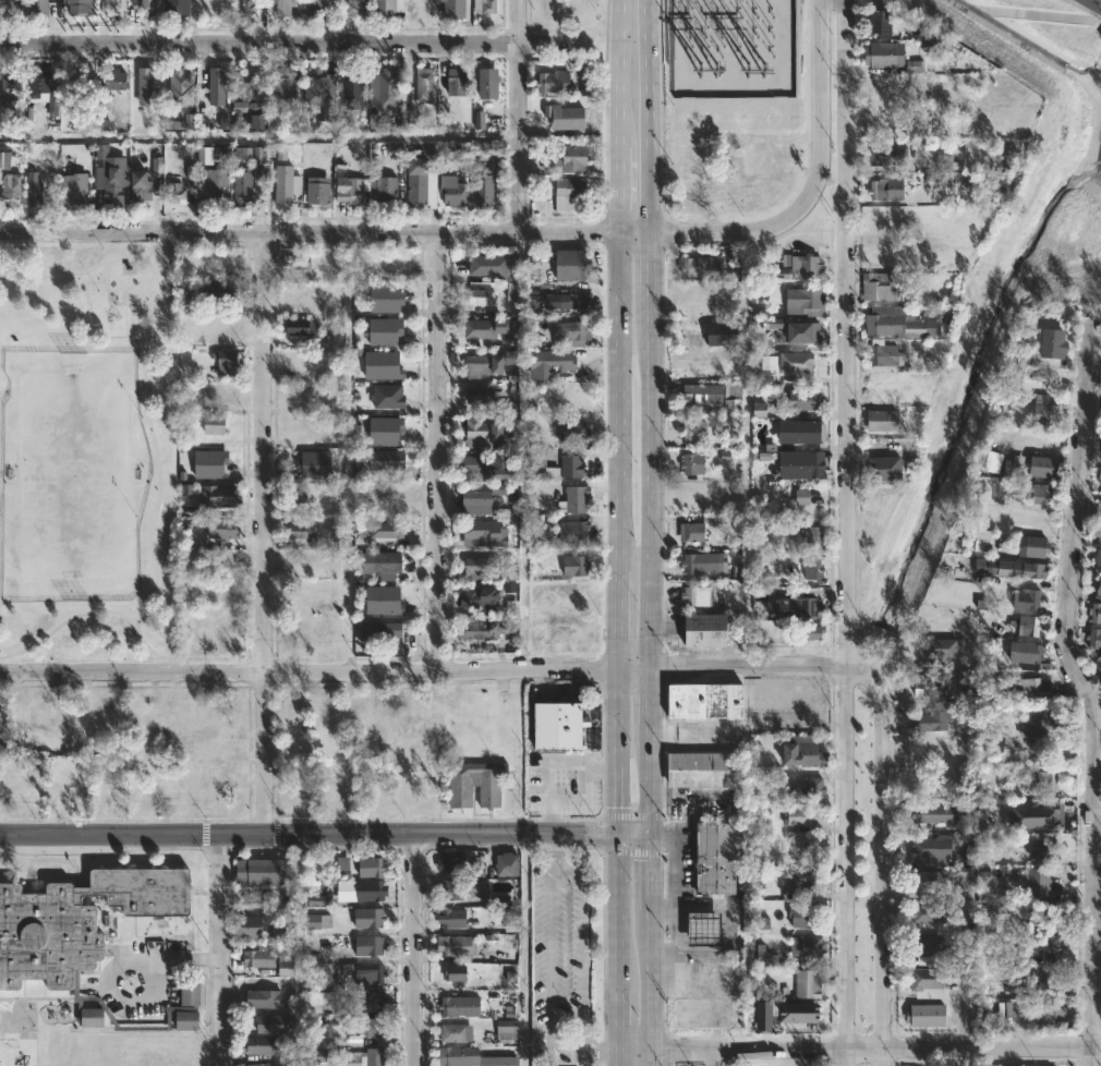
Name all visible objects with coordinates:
road: (1096, 2)
building: (82, 7)
building: (249, 7)
building: (285, 7)
building: (353, 7)
building: (485, 7)
building: (38, 8)
building: (149, 8)
building: (179, 8)
building: (312, 8)
building: (390, 9)
building: (456, 9)
building: (8, 10)
building: (414, 13)
road: (646, 20)
road: (622, 21)
building: (876, 21)
road: (586, 26)
building: (932, 36)
road: (289, 44)
power substation: (731, 49)
building: (881, 53)
building: (915, 66)
building: (114, 82)
building: (288, 82)
building: (458, 82)
building: (555, 82)
building: (78, 84)
building: (424, 84)
building: (489, 84)
building: (893, 84)
building: (12, 86)
building: (146, 86)
building: (181, 87)
building: (320, 87)
building: (218, 88)
building: (45, 89)
building: (386, 90)
building: (353, 93)
building: (251, 94)
road: (668, 108)
building: (567, 117)
building: (271, 118)
road: (519, 118)
building: (479, 120)
building: (256, 122)
building: (885, 125)
road: (648, 136)
road: (620, 137)
building: (484, 152)
building: (249, 154)
building: (281, 154)
building: (204, 155)
building: (887, 156)
building: (4, 160)
building: (569, 161)
building: (157, 166)
building: (191, 171)
building: (422, 181)
building: (947, 182)
building: (143, 184)
building: (250, 185)
building: (286, 185)
building: (112, 186)
building: (485, 186)
building: (215, 187)
building: (35, 189)
building: (13, 190)
building: (74, 190)
building: (351, 190)
building: (887, 190)
building: (176, 192)
building: (388, 192)
building: (569, 192)
building: (456, 193)
building: (319, 196)
road: (508, 235)
building: (491, 264)
building: (573, 264)
road: (48, 266)
building: (797, 266)
building: (702, 267)
building: (882, 286)
building: (222, 291)
building: (511, 291)
building: (483, 296)
building: (387, 298)
building: (574, 299)
building: (803, 301)
building: (895, 322)
road: (847, 323)
building: (223, 326)
building: (301, 327)
building: (482, 328)
building: (794, 329)
building: (387, 330)
building: (573, 332)
building: (716, 336)
building: (1049, 342)
building: (882, 354)
building: (509, 356)
building: (556, 359)
building: (228, 361)
building: (794, 361)
building: (767, 362)
building: (385, 364)
building: (486, 365)
building: (713, 393)
building: (482, 395)
building: (390, 396)
building: (806, 399)
building: (508, 409)
building: (759, 409)
building: (1041, 410)
building: (885, 420)
building: (216, 424)
building: (511, 428)
building: (387, 429)
building: (485, 432)
building: (574, 432)
building: (692, 433)
building: (806, 433)
park: (88, 451)
road: (439, 453)
building: (991, 461)
building: (211, 462)
building: (541, 463)
building: (690, 463)
building: (316, 464)
building: (494, 464)
building: (802, 464)
building: (573, 465)
building: (1014, 465)
building: (1038, 465)
building: (383, 467)
building: (882, 468)
park: (73, 475)
building: (1100, 481)
road: (157, 483)
building: (1015, 488)
building: (1035, 492)
building: (218, 494)
building: (298, 495)
building: (801, 496)
building: (394, 497)
building: (577, 499)
building: (475, 500)
building: (1098, 504)
building: (225, 529)
building: (297, 529)
building: (389, 530)
building: (576, 530)
building: (1096, 531)
building: (693, 532)
building: (485, 533)
road: (620, 534)
road: (651, 534)
road: (262, 535)
building: (812, 535)
building: (980, 538)
building: (1029, 545)
building: (1096, 558)
building: (700, 562)
building: (388, 565)
building: (577, 565)
building: (984, 566)
building: (483, 568)
building: (813, 569)
building: (1016, 569)
building: (1096, 585)
building: (698, 595)
building: (1023, 597)
building: (482, 598)
building: (386, 599)
building: (807, 602)
building: (1093, 611)
road: (136, 621)
road: (132, 623)
building: (1025, 626)
building: (488, 628)
building: (710, 629)
building: (379, 630)
building: (810, 632)
building: (1092, 638)
building: (940, 649)
building: (1019, 651)
road: (197, 655)
building: (1096, 662)
road: (429, 673)
building: (927, 685)
building: (1029, 687)
road: (1088, 691)
building: (703, 701)
building: (290, 708)
building: (937, 716)
building: (1035, 719)
building: (558, 725)
building: (1000, 742)
building: (801, 751)
building: (705, 770)
building: (1044, 779)
building: (476, 783)
parking lot: (564, 783)
building: (813, 787)
building: (796, 791)
road: (1098, 812)
building: (802, 815)
building: (934, 816)
building: (1033, 816)
road: (308, 834)
road: (634, 835)
building: (931, 846)
road: (557, 848)
building: (1042, 849)
building: (719, 858)
building: (453, 861)
building: (341, 863)
road: (881, 863)
building: (509, 864)
road: (848, 865)
building: (373, 867)
building: (262, 871)
building: (797, 880)
building: (924, 881)
building: (1032, 881)
building: (465, 888)
building: (373, 891)
building: (965, 892)
building: (1046, 910)
building: (924, 912)
building: (453, 917)
building: (804, 917)
building: (370, 918)
building: (511, 918)
building: (78, 921)
building: (318, 921)
building: (763, 922)
building: (251, 926)
building: (703, 926)
road: (583, 933)
building: (1029, 944)
building: (371, 945)
building: (457, 945)
building: (810, 947)
building: (921, 947)
road: (414, 948)
road: (219, 949)
road: (548, 949)
road: (618, 949)
road: (652, 949)
building: (762, 956)
road: (158, 958)
building: (261, 958)
parking lot: (560, 959)
building: (285, 964)
building: (347, 969)
building: (371, 974)
building: (456, 977)
building: (1040, 980)
building: (924, 982)
building: (809, 983)
building: (192, 994)
building: (266, 995)
building: (705, 996)
building: (375, 1001)
building: (460, 1006)
building: (796, 1012)
building: (1049, 1012)
building: (928, 1014)
building: (763, 1016)
building: (94, 1017)
building: (189, 1020)
building: (276, 1022)
building: (370, 1028)
building: (507, 1029)
building: (456, 1033)
road: (585, 1038)
building: (265, 1045)
road: (860, 1046)
road: (603, 1053)
building: (316, 1055)
road: (561, 1055)
building: (367, 1057)
building: (472, 1057)
building: (264, 1065)

